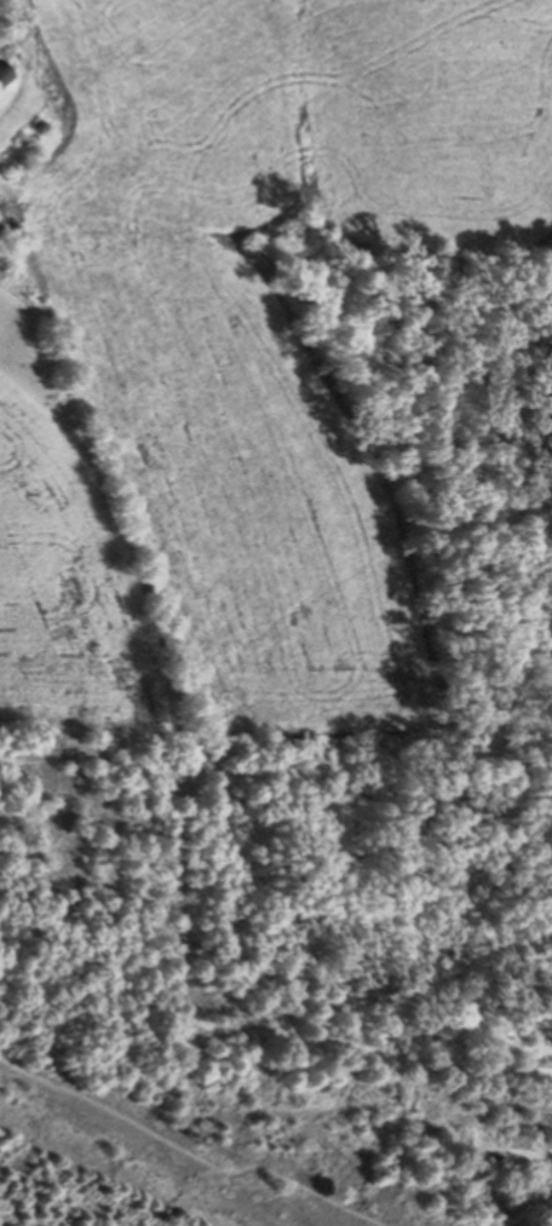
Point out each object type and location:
building: (1, 76)
building: (2, 213)

